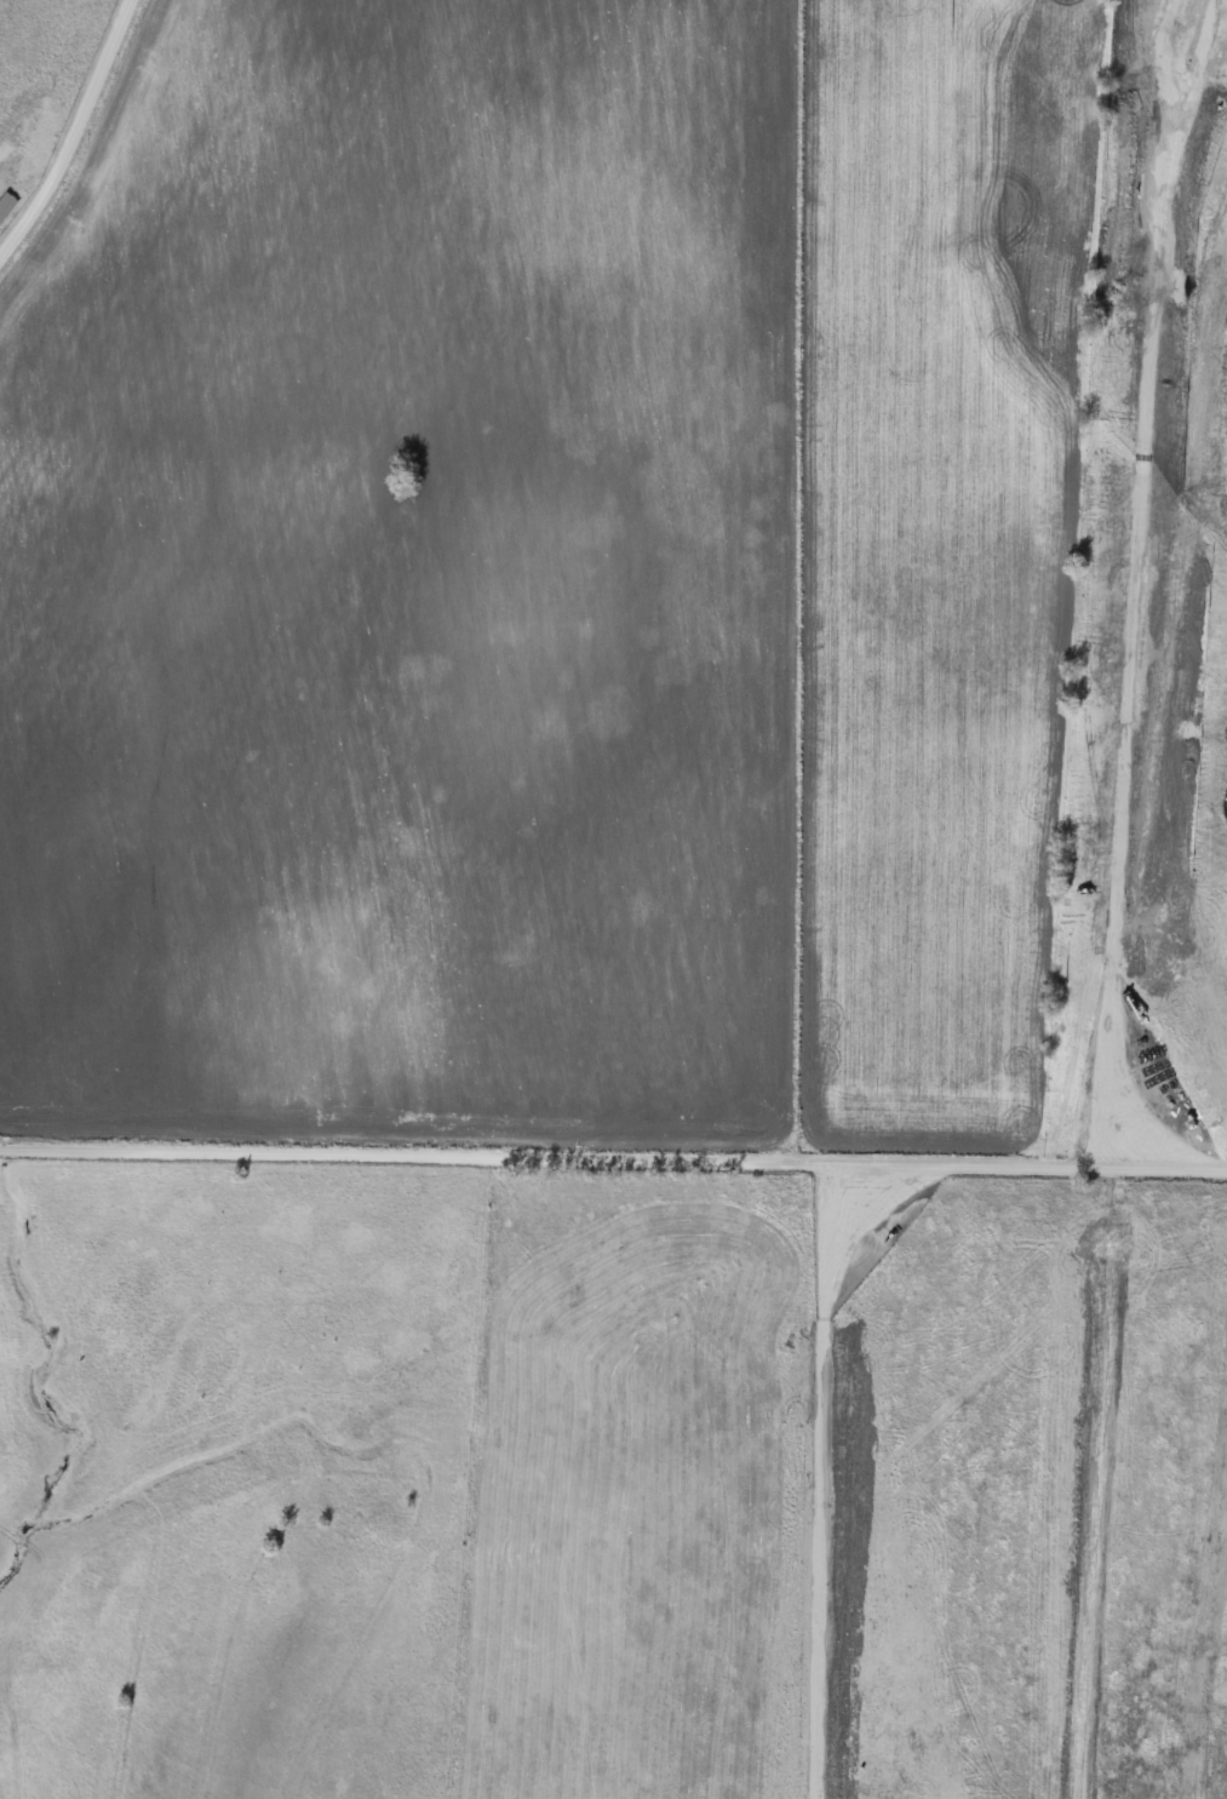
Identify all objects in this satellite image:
road: (75, 124)
building: (5, 204)
road: (613, 1153)

